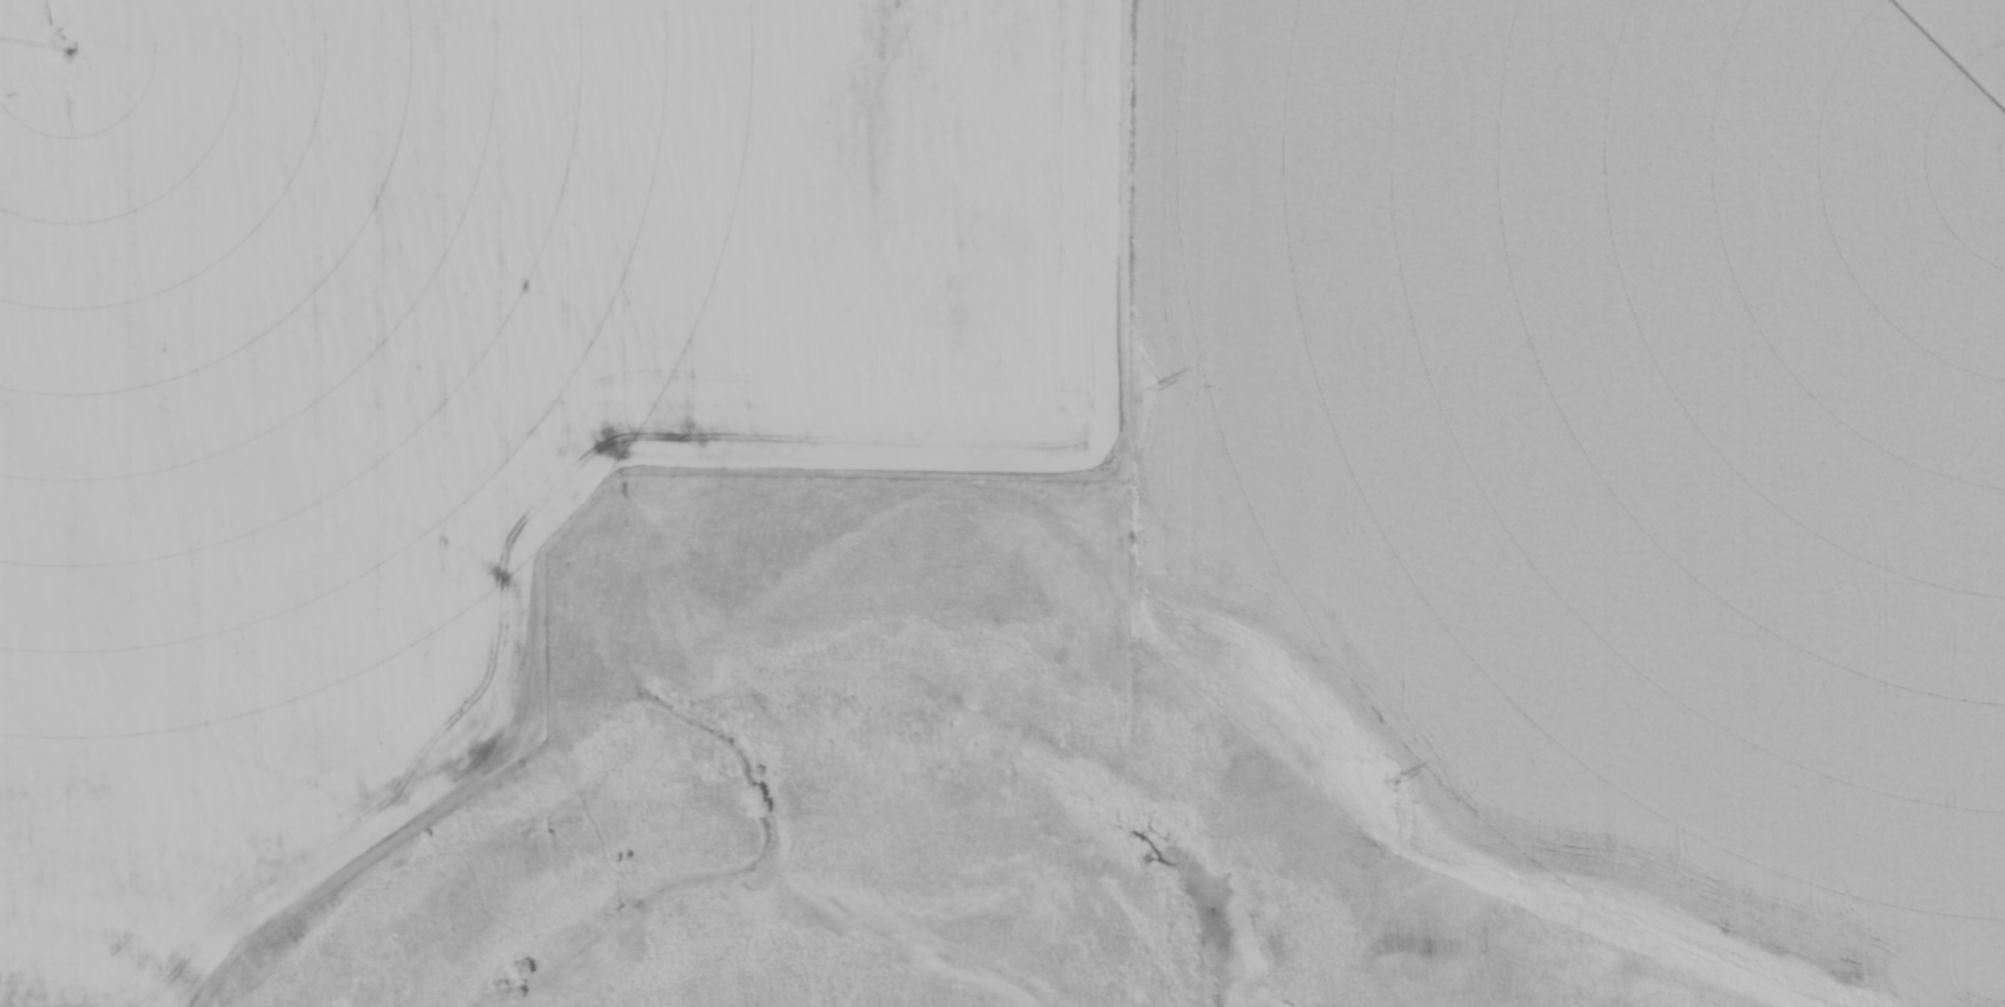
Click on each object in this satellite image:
power tower: (1153, 385)
crop: (1609, 442)
power tower: (1386, 777)

